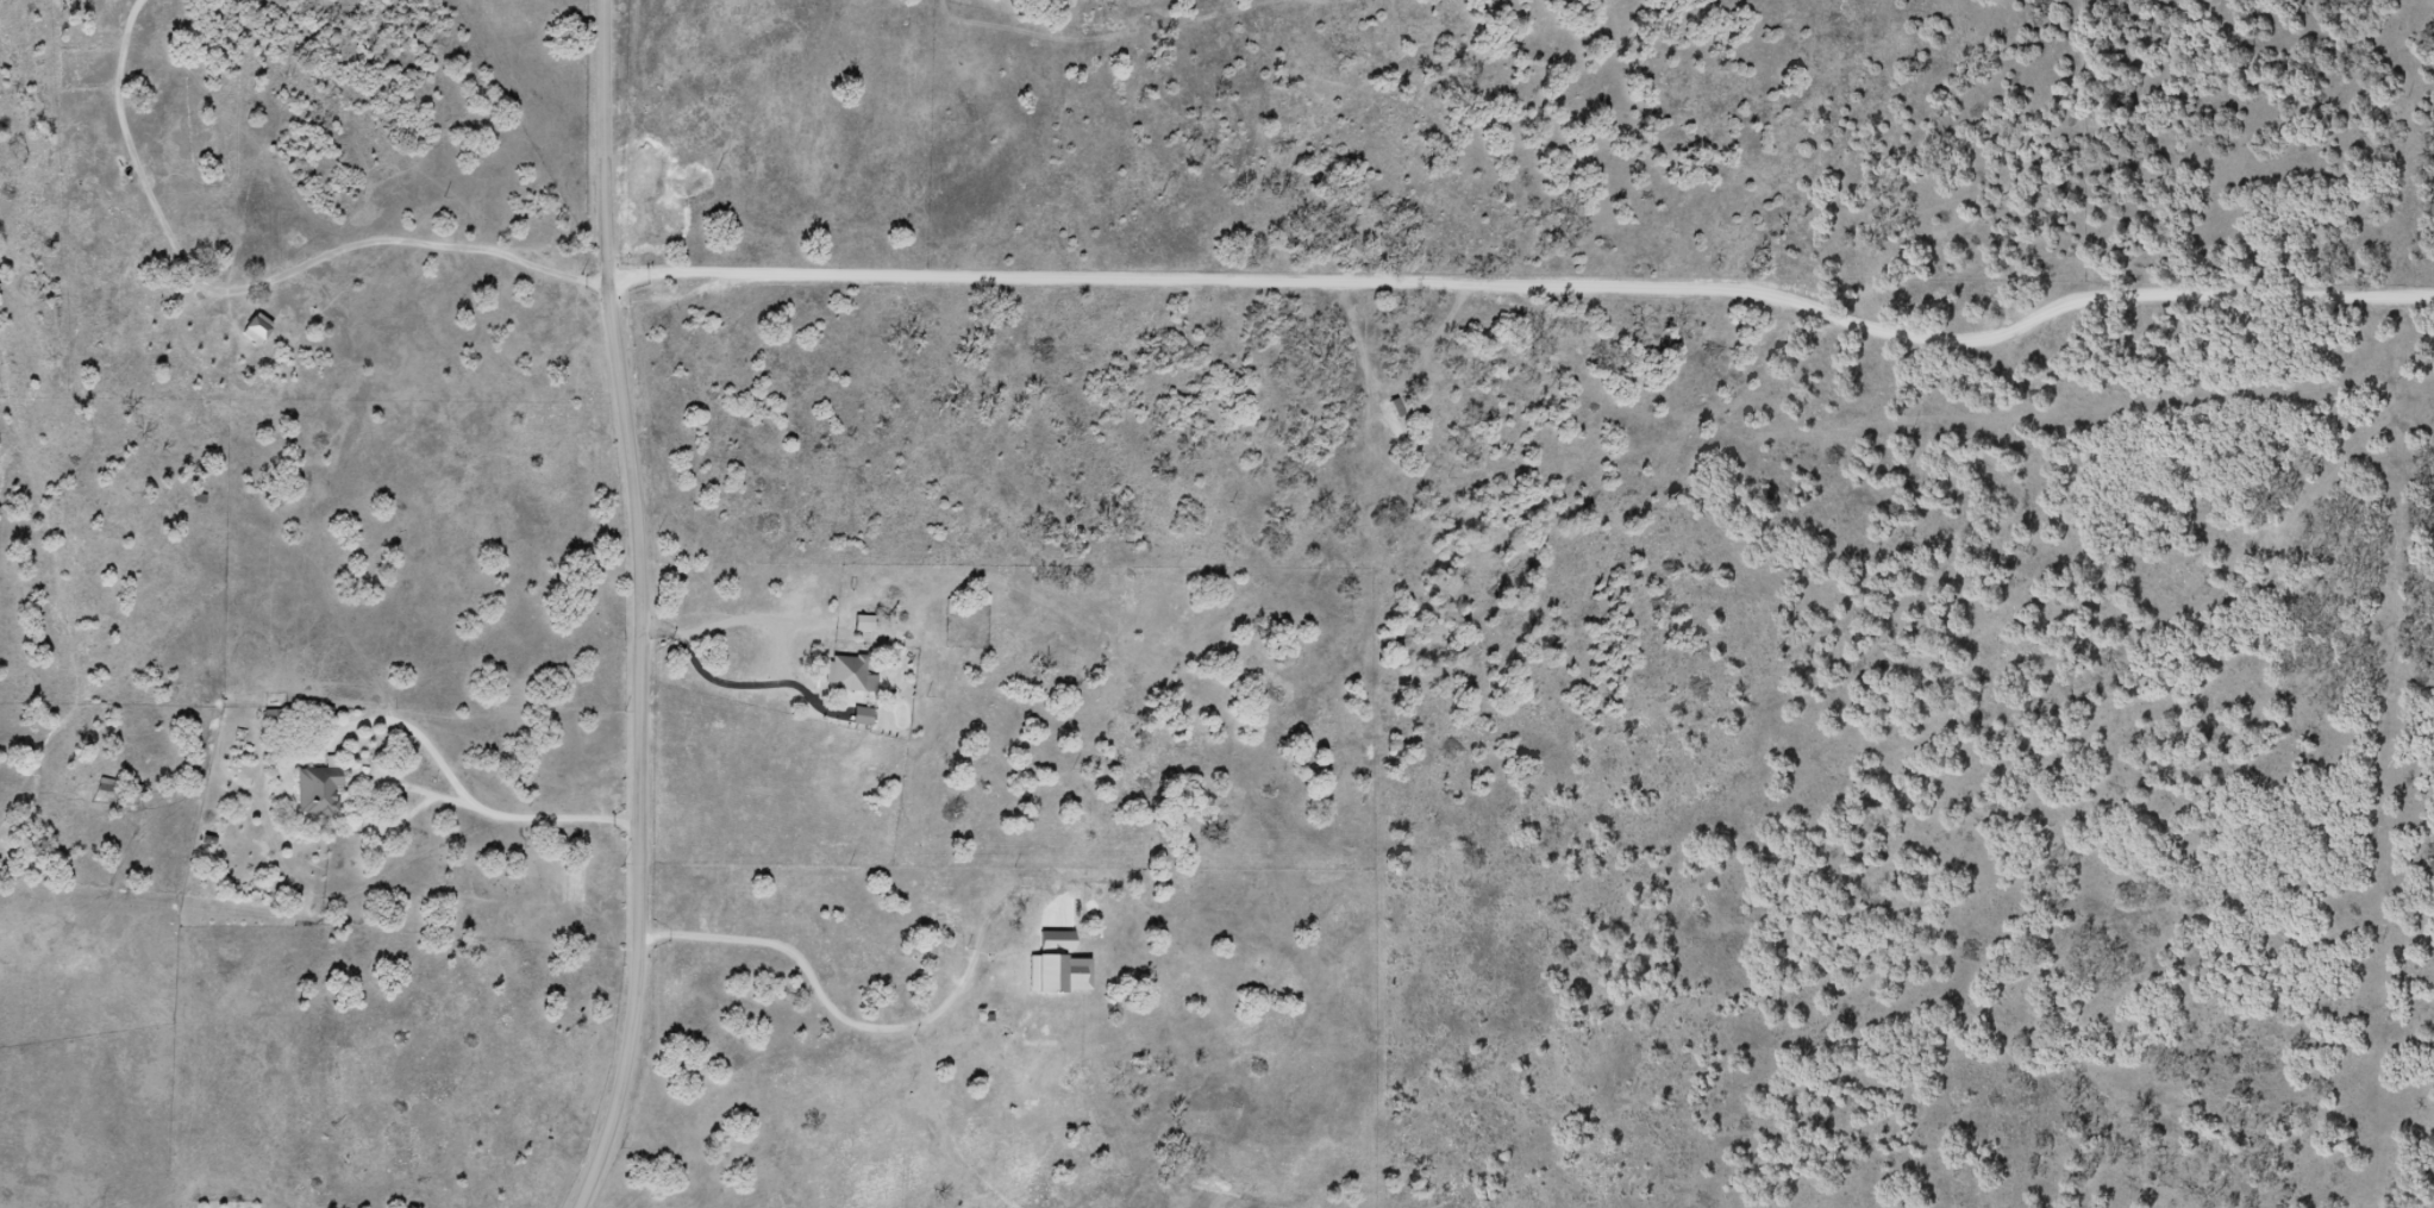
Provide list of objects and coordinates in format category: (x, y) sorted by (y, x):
road: (254, 287)
building: (256, 331)
road: (1531, 355)
building: (1393, 418)
road: (620, 606)
building: (856, 624)
building: (849, 675)
building: (861, 716)
building: (319, 793)

